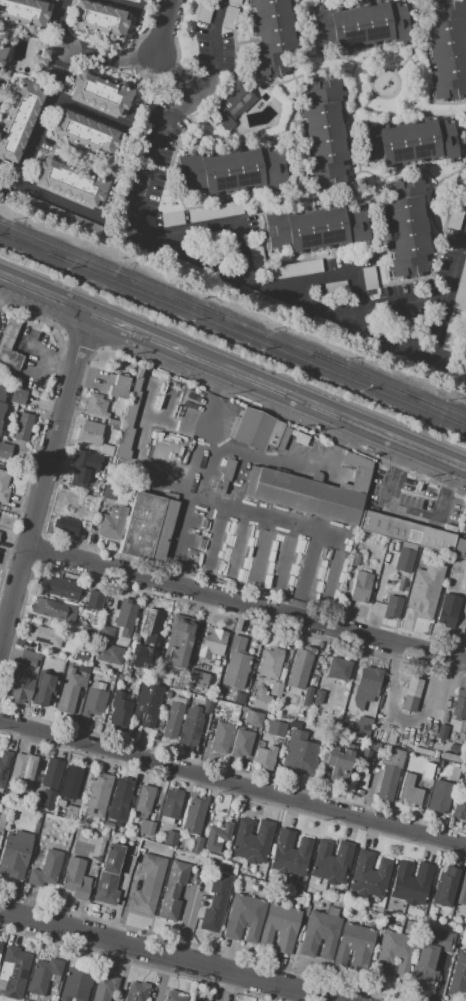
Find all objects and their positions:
building: (137, 0)
building: (139, 0)
road: (124, 4)
building: (23, 15)
building: (99, 20)
building: (357, 25)
road: (305, 27)
road: (165, 28)
parking lot: (214, 36)
road: (231, 37)
building: (272, 37)
road: (413, 39)
building: (446, 51)
building: (41, 52)
building: (2, 53)
road: (86, 53)
road: (304, 57)
road: (352, 61)
road: (225, 70)
road: (178, 77)
road: (272, 81)
building: (98, 91)
road: (440, 102)
building: (229, 104)
road: (199, 105)
road: (87, 111)
road: (435, 115)
building: (18, 118)
road: (40, 124)
road: (352, 128)
building: (324, 131)
building: (85, 133)
building: (406, 143)
road: (171, 156)
road: (405, 171)
building: (230, 172)
road: (353, 173)
building: (72, 180)
road: (323, 199)
road: (56, 200)
building: (217, 211)
building: (57, 215)
building: (313, 229)
road: (378, 229)
building: (408, 229)
road: (330, 254)
road: (202, 259)
parking lot: (296, 263)
railway: (104, 268)
railway: (104, 272)
railway: (93, 273)
road: (43, 298)
railway: (216, 314)
road: (135, 336)
railway: (268, 336)
building: (9, 347)
road: (409, 350)
railway: (326, 370)
railway: (389, 385)
building: (119, 387)
road: (215, 387)
railway: (389, 388)
building: (18, 397)
building: (2, 405)
building: (96, 406)
road: (319, 412)
building: (128, 413)
building: (23, 426)
building: (259, 431)
building: (90, 432)
building: (299, 437)
road: (339, 437)
building: (106, 450)
building: (4, 451)
road: (269, 459)
building: (81, 461)
building: (357, 461)
building: (117, 462)
building: (228, 469)
road: (460, 470)
road: (394, 474)
building: (99, 477)
road: (42, 478)
building: (359, 481)
building: (89, 485)
building: (3, 486)
building: (220, 487)
building: (110, 493)
building: (302, 495)
road: (189, 497)
building: (83, 502)
building: (91, 514)
road: (435, 515)
building: (111, 522)
road: (300, 523)
building: (66, 526)
building: (148, 527)
building: (404, 532)
building: (389, 548)
building: (458, 548)
building: (354, 559)
building: (405, 560)
building: (401, 584)
building: (465, 586)
building: (361, 587)
building: (61, 588)
building: (423, 590)
building: (95, 600)
building: (393, 609)
building: (53, 610)
building: (448, 610)
road: (244, 612)
building: (125, 618)
building: (90, 631)
building: (42, 636)
building: (147, 640)
building: (179, 641)
building: (212, 643)
building: (108, 654)
building: (29, 658)
building: (80, 658)
building: (236, 663)
building: (270, 663)
building: (300, 668)
building: (339, 669)
building: (197, 679)
building: (97, 686)
building: (70, 687)
building: (367, 687)
building: (19, 689)
building: (43, 689)
building: (276, 689)
building: (411, 695)
building: (307, 697)
building: (240, 698)
building: (261, 699)
building: (318, 699)
building: (146, 700)
building: (93, 703)
building: (459, 705)
building: (206, 706)
building: (120, 709)
building: (368, 711)
building: (271, 713)
building: (315, 714)
building: (253, 718)
building: (173, 720)
building: (294, 725)
building: (276, 728)
building: (363, 728)
building: (343, 729)
building: (190, 732)
building: (442, 732)
building: (221, 737)
building: (240, 743)
building: (454, 748)
building: (429, 753)
building: (451, 753)
building: (300, 754)
building: (265, 757)
building: (336, 762)
building: (442, 762)
building: (4, 766)
building: (362, 768)
building: (23, 769)
building: (51, 774)
building: (429, 774)
building: (454, 775)
building: (390, 776)
building: (70, 782)
road: (233, 784)
building: (409, 792)
building: (121, 794)
building: (97, 795)
building: (439, 796)
building: (0, 798)
building: (144, 800)
building: (47, 801)
building: (171, 805)
building: (460, 806)
building: (70, 813)
building: (194, 816)
building: (145, 828)
building: (1, 830)
building: (169, 838)
building: (217, 838)
building: (252, 841)
building: (197, 845)
building: (15, 854)
building: (290, 855)
building: (214, 860)
building: (332, 862)
building: (45, 870)
building: (108, 875)
building: (369, 875)
building: (75, 879)
building: (411, 882)
building: (148, 885)
building: (445, 887)
building: (259, 888)
building: (462, 890)
building: (172, 891)
building: (323, 901)
building: (215, 903)
building: (332, 911)
building: (357, 913)
building: (369, 917)
building: (244, 918)
building: (465, 921)
road: (187, 922)
building: (280, 928)
building: (319, 935)
building: (0, 942)
building: (0, 946)
building: (354, 948)
building: (394, 955)
road: (167, 957)
building: (429, 959)
building: (13, 966)
building: (43, 976)
building: (458, 977)
building: (74, 984)
building: (104, 988)
building: (136, 992)
building: (174, 996)
building: (195, 1000)

